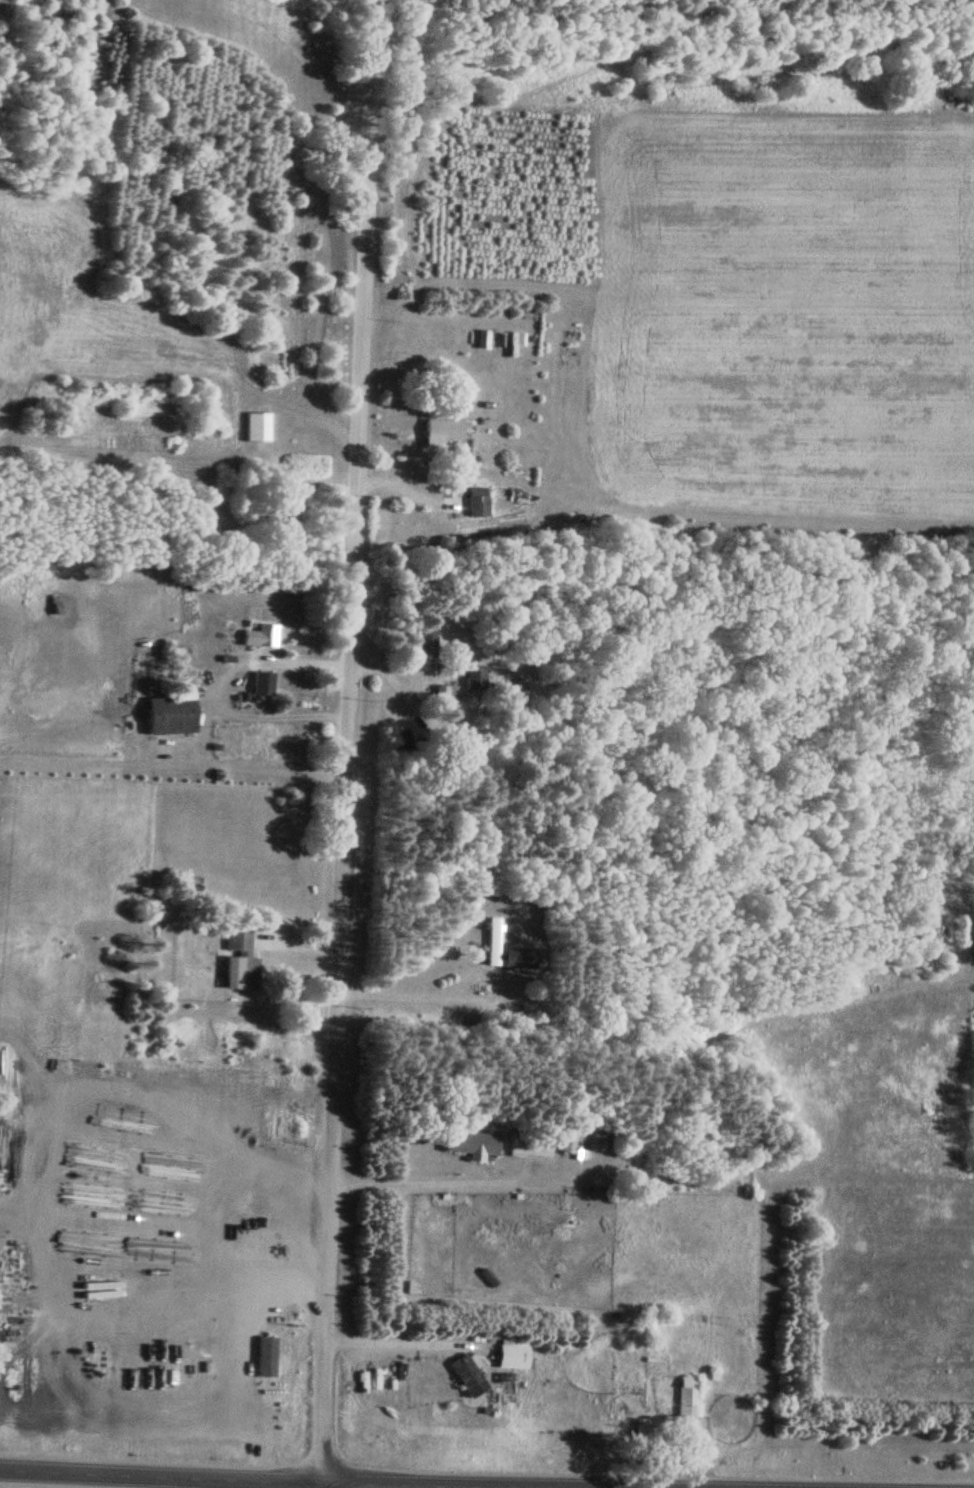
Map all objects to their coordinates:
crop: (783, 319)
building: (253, 426)
building: (440, 430)
building: (474, 502)
building: (52, 607)
building: (260, 635)
building: (424, 641)
building: (470, 678)
building: (262, 683)
building: (444, 693)
building: (170, 715)
road: (333, 743)
building: (490, 941)
building: (234, 958)
building: (517, 958)
building: (592, 1139)
building: (469, 1144)
building: (526, 1144)
building: (563, 1145)
building: (510, 1354)
building: (467, 1376)
building: (685, 1397)
building: (645, 1432)
road: (317, 1481)

